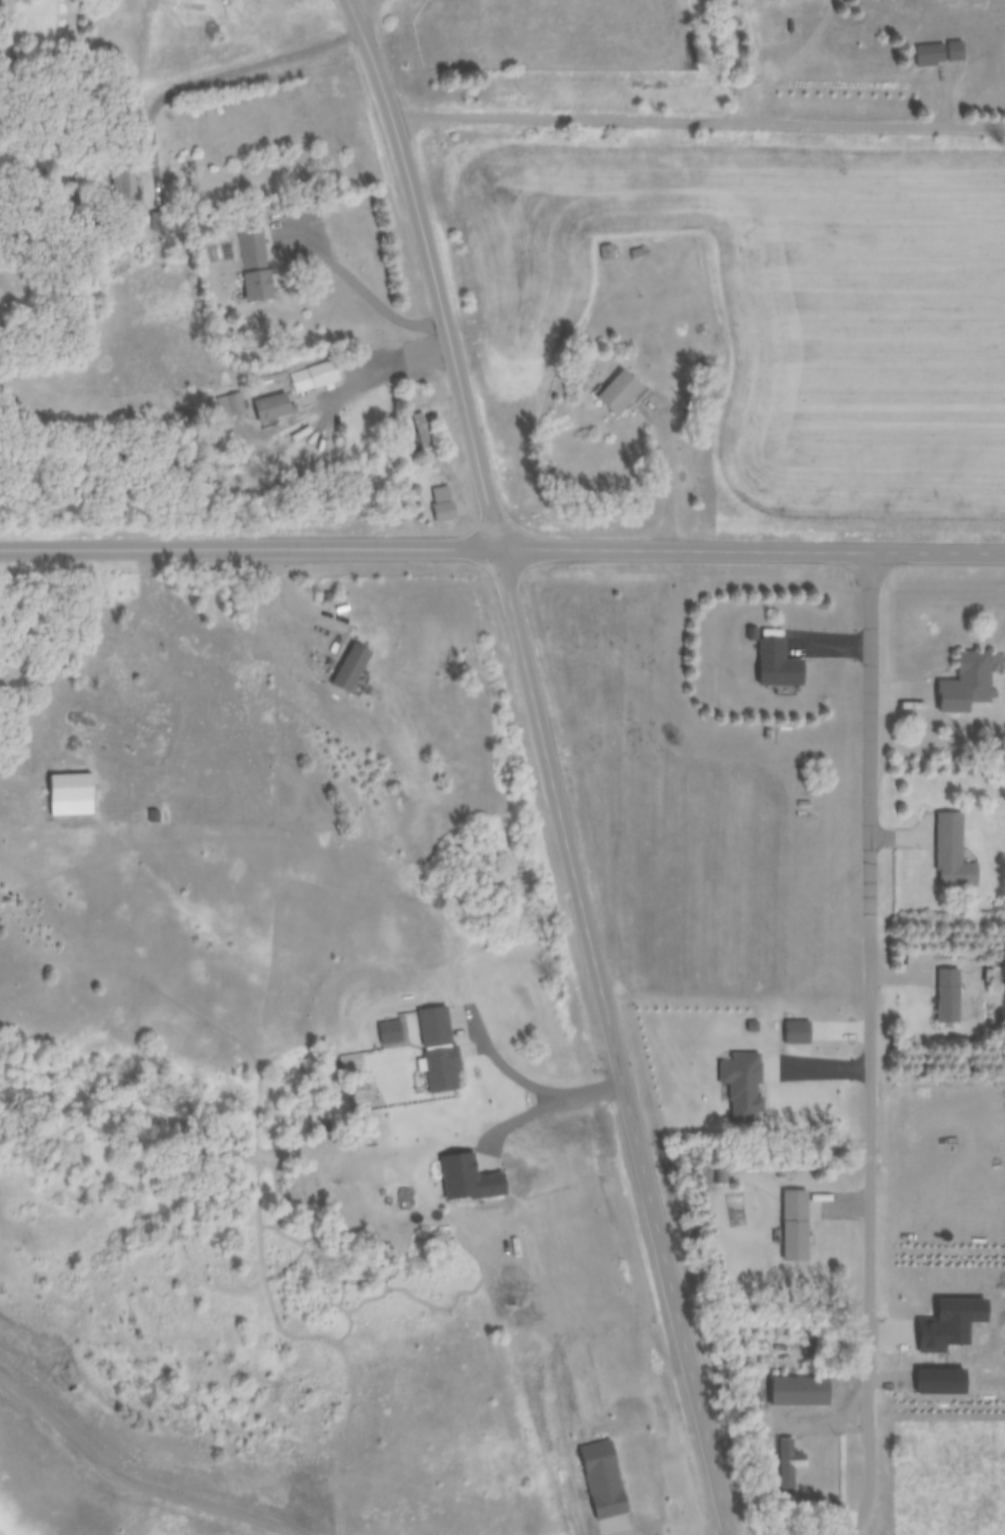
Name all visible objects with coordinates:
road: (357, 2)
building: (936, 54)
road: (220, 70)
road: (731, 84)
road: (931, 95)
road: (661, 117)
road: (966, 124)
building: (129, 184)
building: (161, 222)
building: (603, 252)
building: (256, 259)
road: (357, 279)
building: (261, 285)
road: (369, 368)
building: (621, 392)
building: (229, 403)
building: (273, 406)
building: (422, 433)
road: (670, 462)
building: (445, 504)
road: (502, 547)
building: (778, 664)
building: (966, 683)
road: (871, 727)
road: (551, 764)
building: (952, 852)
building: (813, 881)
building: (948, 995)
building: (795, 1032)
road: (871, 1222)
building: (795, 1226)
building: (799, 1392)
building: (785, 1466)

